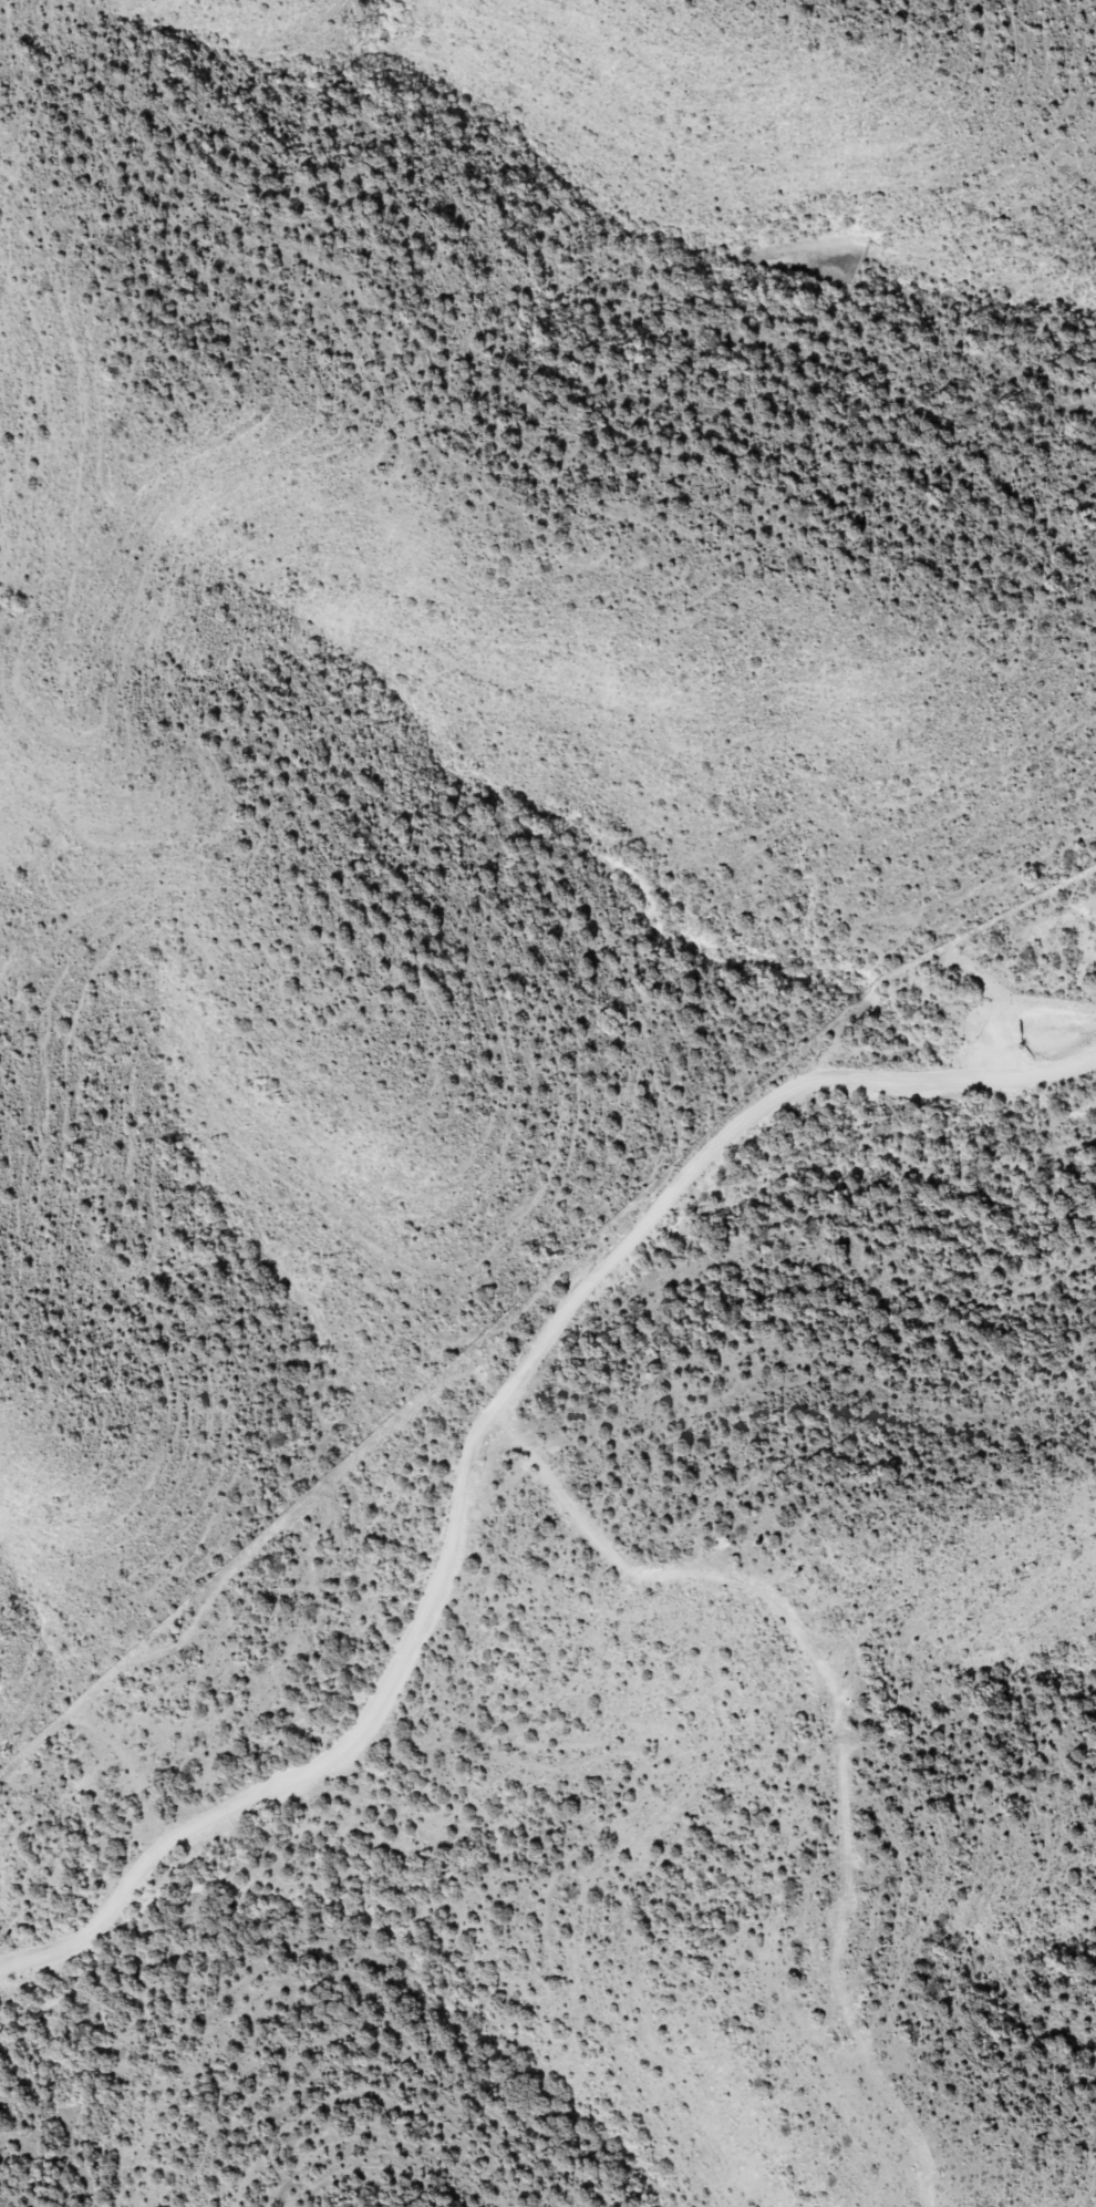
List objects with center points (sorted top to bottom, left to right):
road: (477, 1438)

